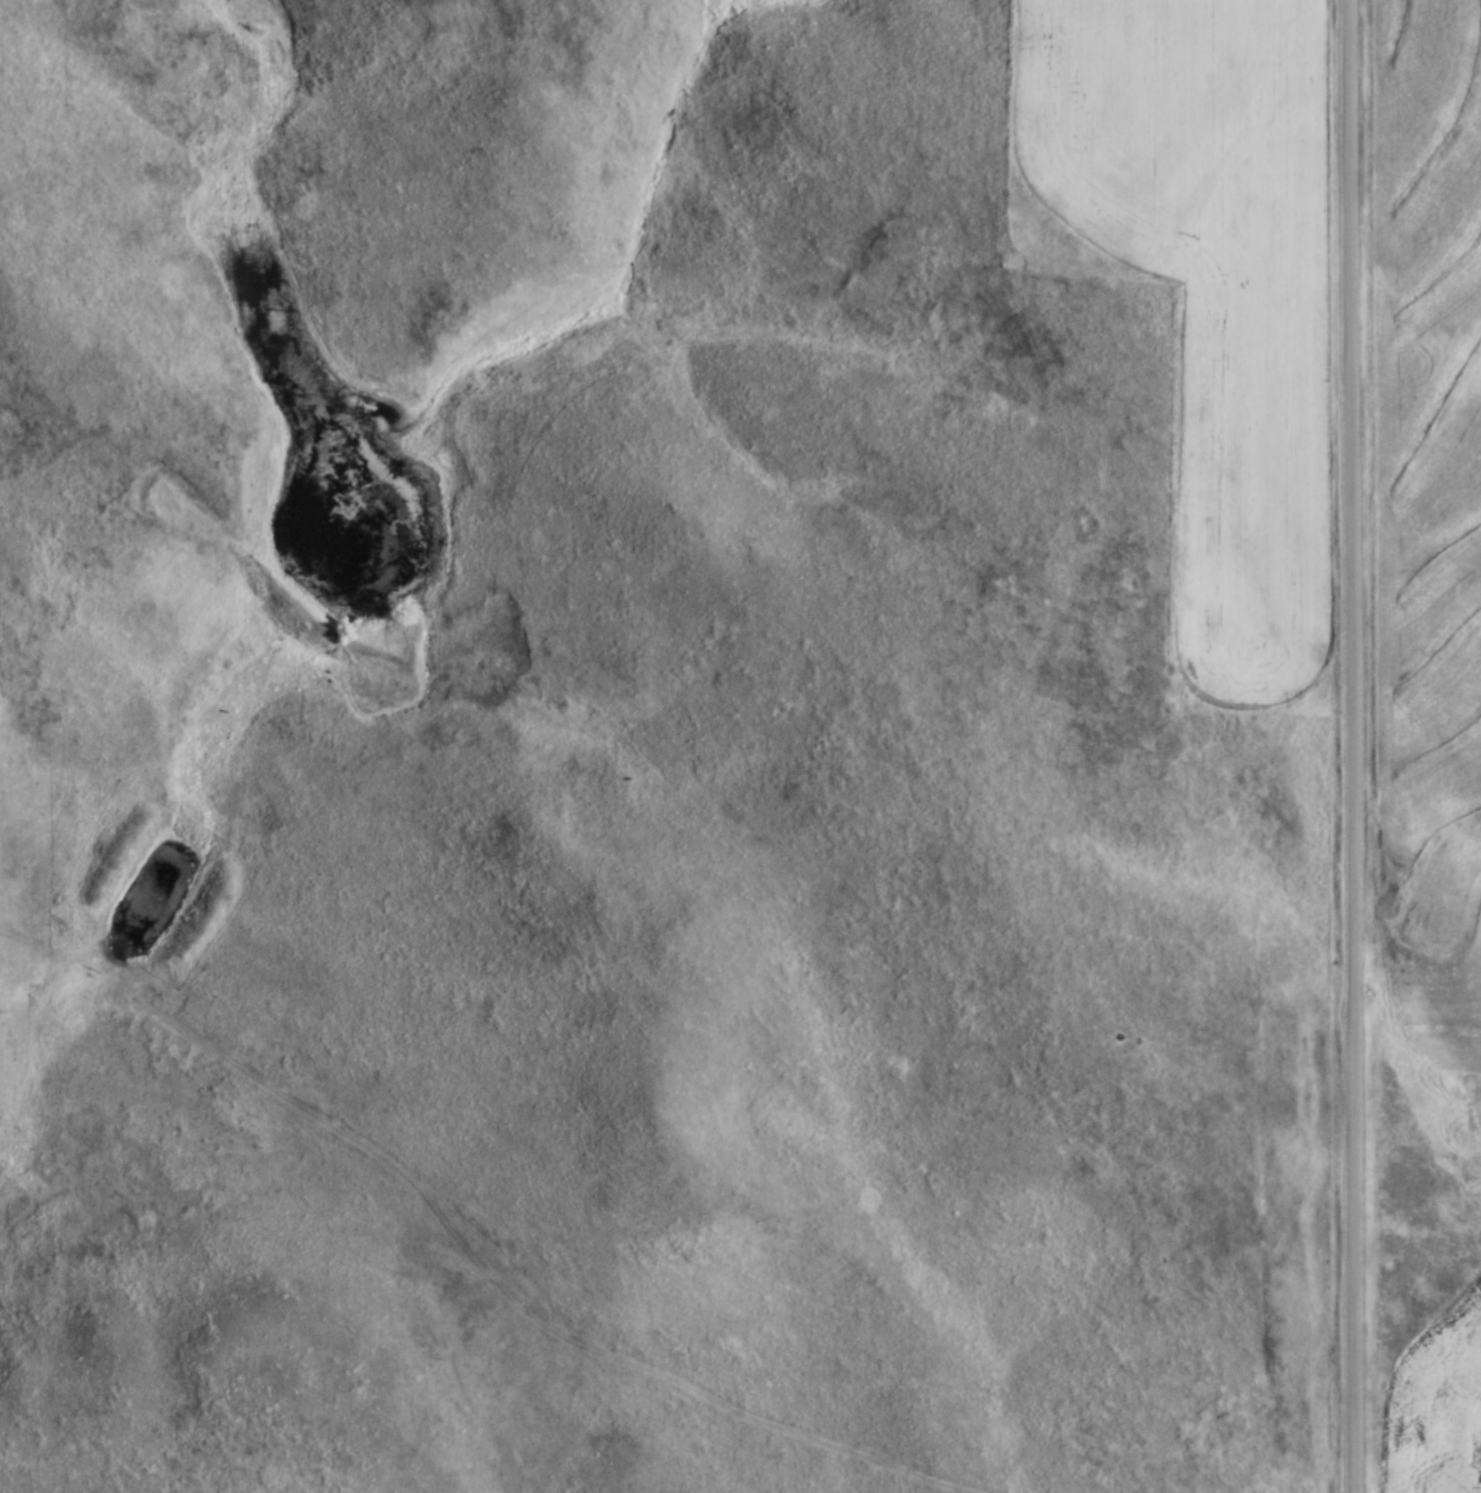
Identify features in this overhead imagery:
road: (1349, 746)

